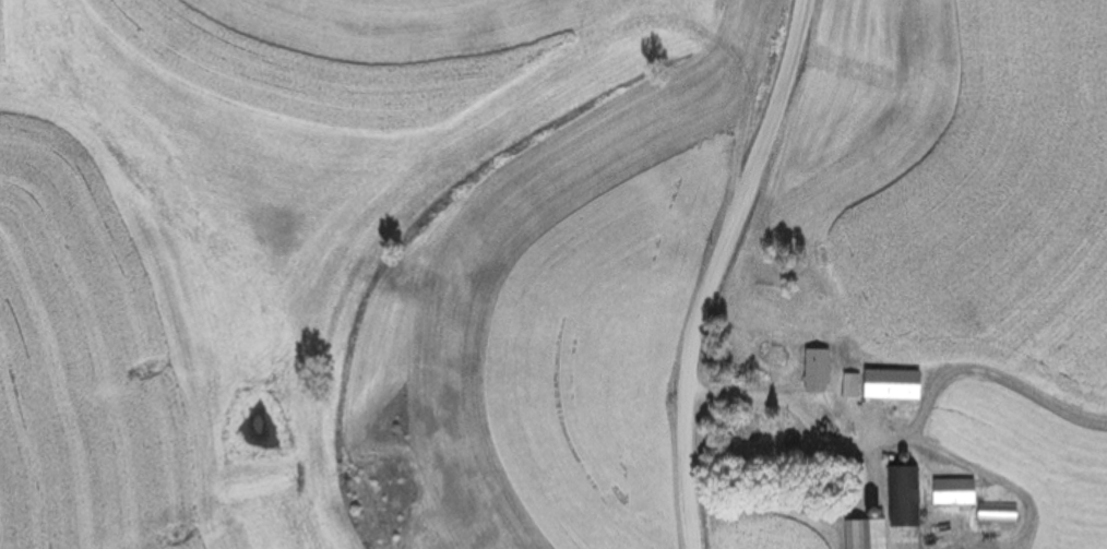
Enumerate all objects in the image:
road: (711, 268)
building: (811, 369)
building: (877, 383)
road: (798, 414)
building: (964, 499)
building: (880, 511)

